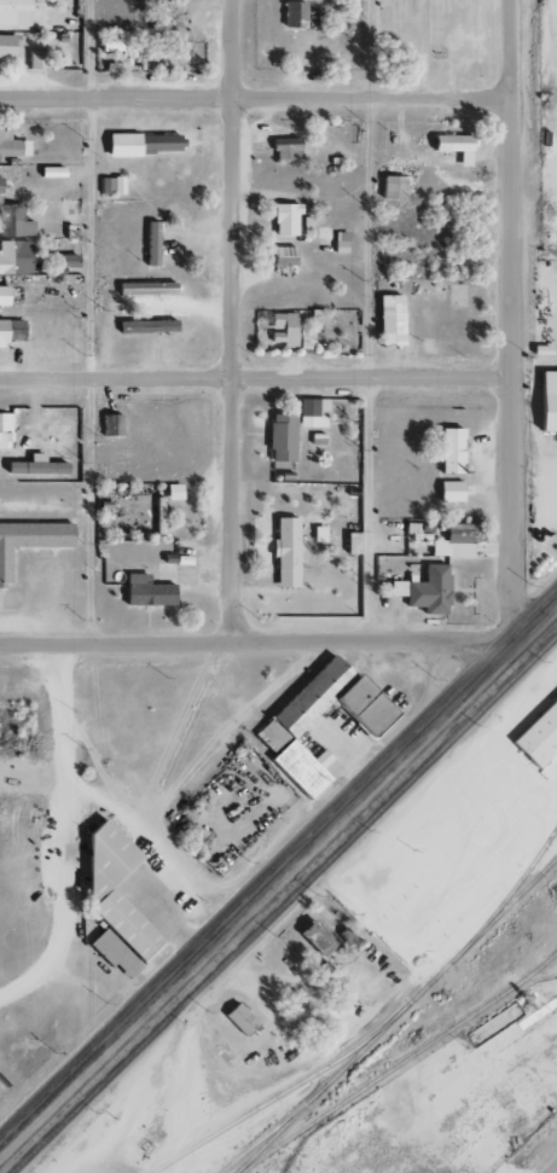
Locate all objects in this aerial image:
building: (13, 12)
building: (292, 14)
building: (173, 16)
road: (551, 18)
road: (555, 40)
building: (5, 46)
building: (169, 51)
building: (36, 59)
road: (255, 99)
road: (550, 122)
building: (140, 144)
building: (12, 146)
building: (452, 146)
building: (284, 149)
building: (110, 185)
building: (390, 187)
building: (283, 220)
building: (12, 222)
building: (338, 242)
building: (150, 244)
building: (282, 256)
building: (13, 257)
building: (64, 261)
building: (144, 289)
building: (2, 296)
road: (553, 312)
road: (231, 320)
road: (370, 320)
building: (389, 320)
road: (510, 324)
building: (146, 326)
building: (284, 327)
building: (10, 331)
building: (274, 333)
building: (303, 339)
road: (546, 373)
road: (255, 378)
road: (91, 388)
building: (545, 403)
building: (311, 413)
building: (112, 425)
building: (4, 430)
road: (545, 434)
building: (280, 439)
building: (449, 451)
building: (35, 468)
road: (546, 478)
building: (449, 492)
building: (172, 493)
building: (159, 516)
building: (317, 534)
building: (29, 540)
building: (454, 541)
building: (349, 544)
building: (284, 552)
building: (396, 588)
building: (429, 591)
building: (145, 592)
road: (255, 641)
building: (280, 727)
building: (538, 736)
road: (101, 767)
road: (277, 881)
railway: (515, 887)
building: (112, 902)
building: (314, 937)
railway: (395, 1015)
building: (238, 1018)
railway: (400, 1063)
railway: (283, 1092)
railway: (272, 1130)
road: (556, 1172)

